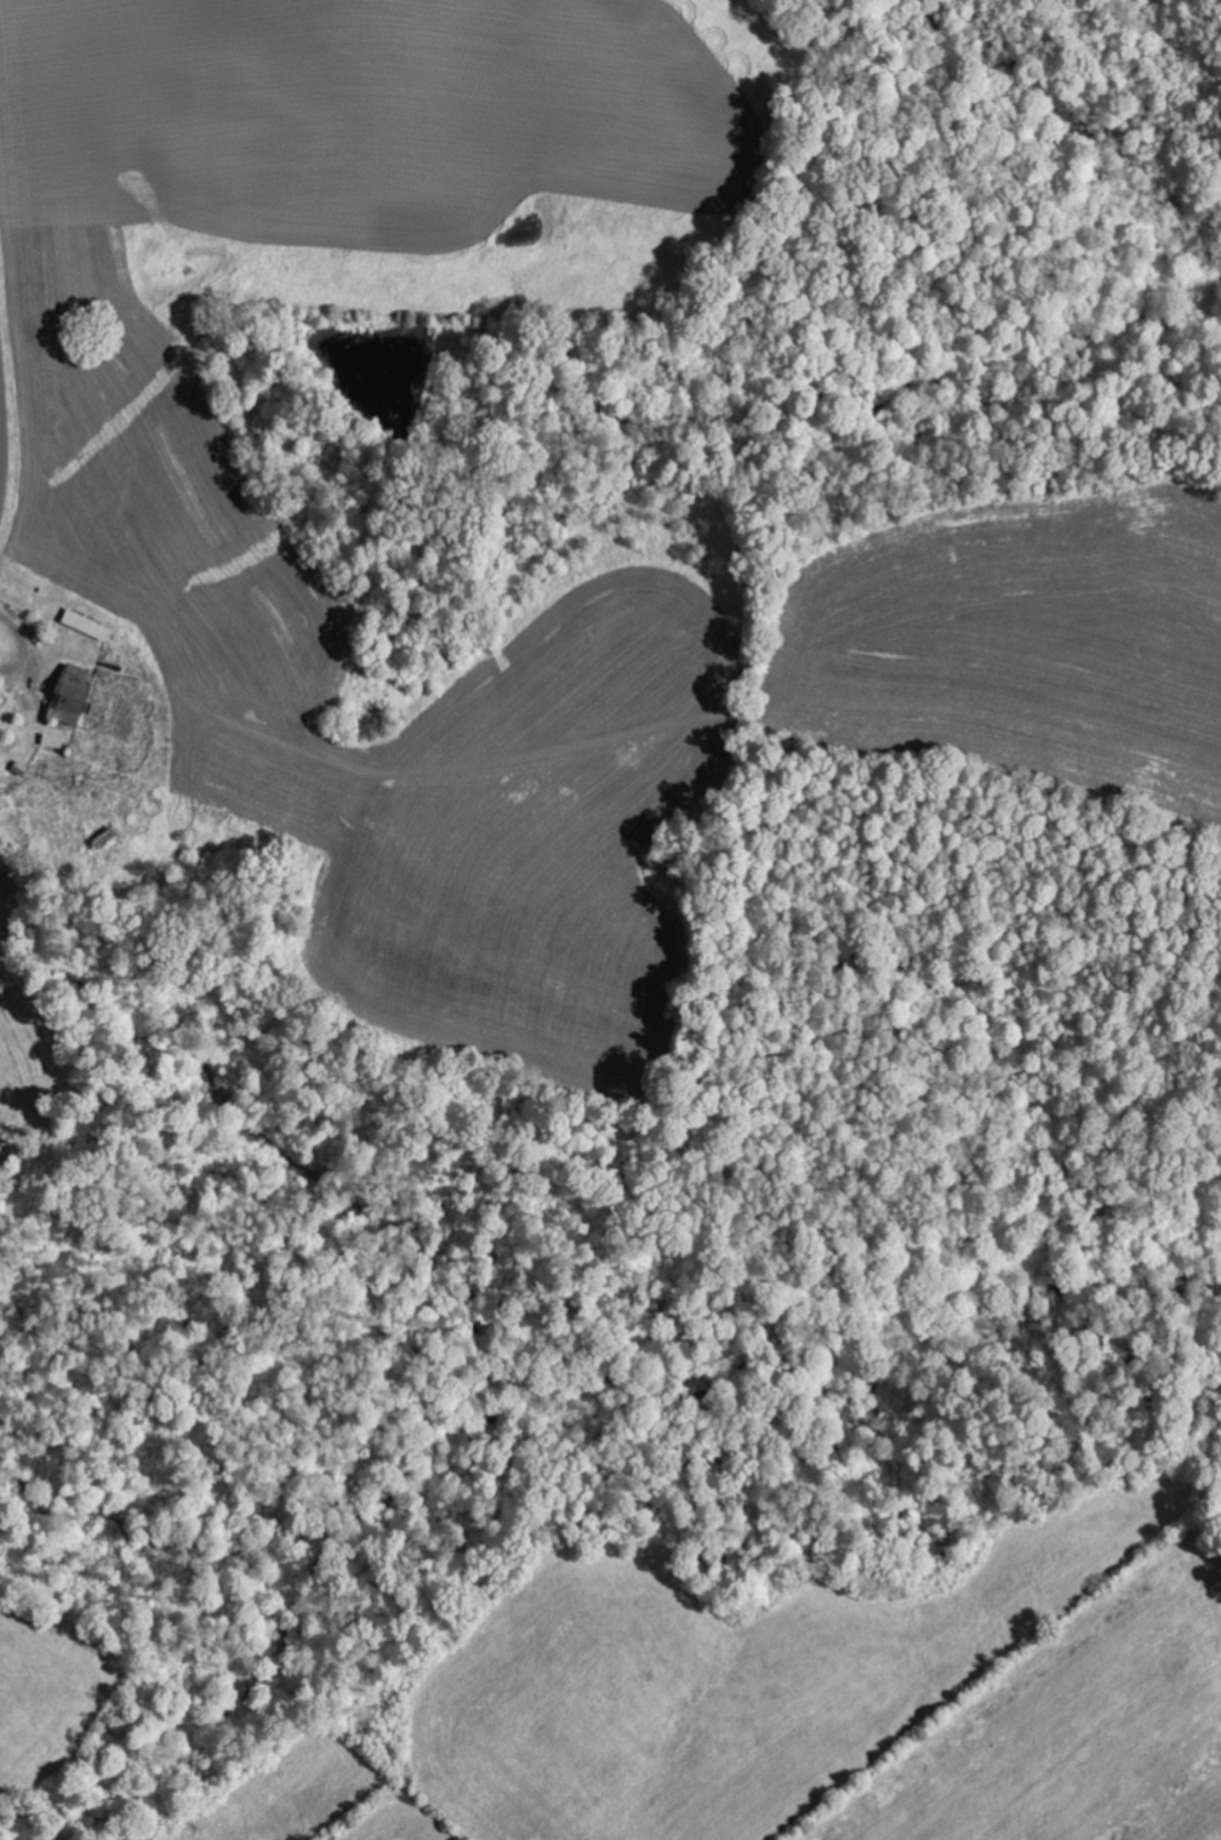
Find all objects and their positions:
road: (0, 448)
building: (69, 695)
building: (1, 697)

